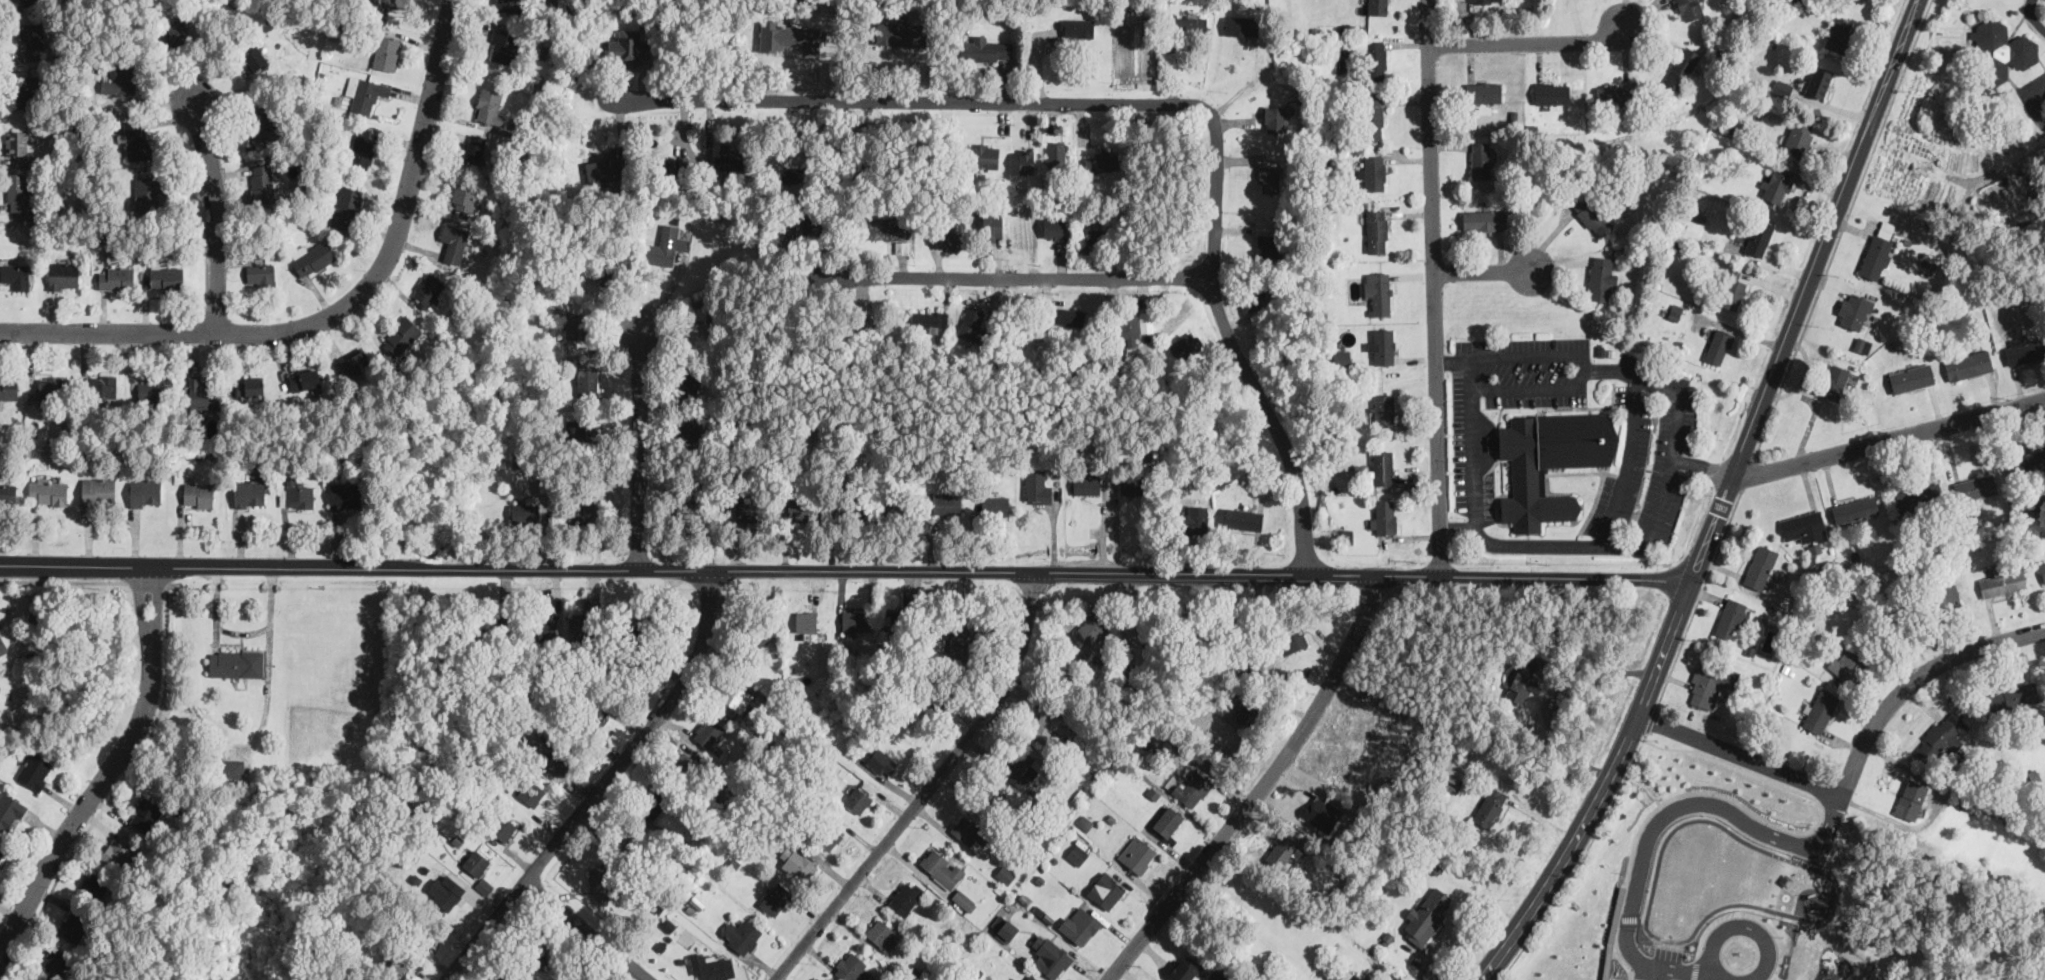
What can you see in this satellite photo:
building: (1478, 0)
building: (1861, 0)
building: (26, 1)
building: (396, 3)
building: (509, 5)
building: (1377, 6)
building: (1690, 8)
road: (2033, 17)
building: (1192, 23)
building: (1241, 24)
building: (1181, 25)
building: (1078, 27)
building: (180, 33)
building: (902, 33)
building: (1839, 33)
building: (788, 36)
building: (32, 40)
road: (1529, 43)
building: (504, 45)
building: (629, 48)
building: (984, 48)
building: (386, 52)
building: (2001, 52)
building: (255, 57)
building: (1376, 60)
building: (1682, 67)
building: (123, 81)
building: (1818, 82)
building: (1783, 88)
building: (21, 91)
building: (1484, 91)
building: (1552, 92)
building: (365, 94)
building: (1614, 95)
road: (909, 102)
building: (488, 105)
building: (1374, 117)
building: (1274, 118)
building: (261, 122)
building: (1799, 135)
building: (137, 139)
building: (18, 142)
building: (474, 147)
building: (1056, 152)
building: (362, 153)
building: (982, 155)
building: (729, 158)
building: (1026, 159)
building: (1481, 159)
building: (1101, 161)
building: (675, 166)
building: (607, 167)
building: (1373, 171)
building: (792, 174)
building: (1269, 178)
building: (263, 183)
building: (1776, 187)
building: (18, 192)
building: (150, 193)
building: (464, 195)
building: (346, 206)
building: (1591, 214)
road: (213, 215)
building: (1484, 219)
building: (810, 224)
building: (992, 224)
building: (801, 225)
building: (1054, 226)
building: (888, 227)
road: (1842, 227)
building: (1377, 230)
building: (1758, 236)
building: (953, 239)
building: (1095, 240)
building: (454, 244)
building: (665, 245)
building: (1269, 245)
building: (902, 246)
building: (1877, 253)
building: (312, 257)
road: (1484, 272)
building: (261, 274)
building: (16, 275)
building: (64, 275)
building: (608, 275)
building: (116, 277)
building: (166, 277)
building: (1600, 277)
road: (1000, 279)
road: (1434, 286)
building: (427, 289)
building: (1731, 289)
building: (1378, 293)
road: (667, 295)
building: (1252, 299)
building: (1855, 310)
building: (1675, 311)
road: (337, 315)
building: (1071, 315)
building: (930, 318)
building: (972, 321)
building: (1146, 322)
building: (1129, 324)
building: (576, 325)
building: (872, 326)
building: (699, 335)
building: (400, 336)
road: (1232, 342)
building: (1863, 344)
building: (1185, 345)
building: (1385, 345)
building: (1718, 345)
building: (2025, 349)
building: (1342, 357)
road: (1454, 360)
building: (356, 363)
building: (1969, 363)
building: (1912, 377)
building: (305, 378)
building: (690, 378)
building: (587, 380)
building: (1835, 381)
building: (103, 385)
building: (250, 387)
road: (1536, 387)
building: (9, 388)
building: (52, 388)
building: (153, 388)
building: (201, 394)
building: (1382, 408)
building: (688, 429)
building: (581, 430)
road: (1886, 439)
parking lot: (1567, 446)
road: (640, 448)
building: (1550, 462)
building: (2029, 462)
road: (1628, 463)
building: (1383, 466)
road: (1700, 466)
road: (1749, 472)
building: (1086, 483)
building: (1132, 484)
building: (1037, 485)
building: (1975, 488)
building: (48, 491)
building: (99, 491)
building: (146, 491)
building: (8, 492)
building: (250, 492)
building: (199, 494)
building: (296, 494)
building: (345, 495)
building: (1919, 496)
road: (1719, 500)
building: (2036, 502)
building: (944, 503)
building: (995, 505)
building: (800, 506)
building: (893, 506)
building: (853, 508)
building: (1854, 508)
building: (525, 510)
building: (747, 510)
building: (582, 513)
building: (690, 514)
building: (1384, 516)
building: (1194, 517)
building: (1243, 518)
road: (1654, 525)
building: (1804, 526)
road: (1457, 527)
building: (1348, 535)
building: (1760, 565)
road: (843, 569)
building: (2042, 569)
road: (63, 581)
road: (147, 582)
building: (2002, 582)
building: (1945, 596)
road: (1698, 597)
building: (855, 619)
building: (1732, 619)
building: (806, 620)
building: (892, 620)
building: (1146, 622)
building: (1184, 623)
building: (1240, 623)
building: (545, 625)
building: (579, 625)
building: (1091, 627)
building: (646, 628)
building: (493, 629)
building: (763, 634)
building: (1291, 640)
building: (3, 644)
building: (960, 645)
building: (237, 662)
building: (1540, 663)
building: (1847, 664)
building: (1522, 681)
building: (0, 685)
building: (1710, 685)
building: (734, 695)
road: (1548, 696)
building: (2013, 696)
building: (931, 704)
building: (1820, 710)
building: (1250, 713)
building: (597, 715)
road: (1652, 718)
building: (1054, 722)
building: (708, 731)
building: (1940, 740)
building: (557, 760)
building: (882, 762)
building: (1023, 762)
building: (684, 764)
road: (1850, 767)
road: (109, 769)
building: (231, 769)
building: (35, 770)
building: (1452, 782)
road: (1646, 784)
road: (117, 785)
road: (603, 786)
road: (930, 787)
building: (1192, 787)
road: (1259, 791)
building: (532, 792)
building: (993, 797)
building: (857, 799)
building: (1910, 799)
building: (654, 800)
building: (1490, 806)
building: (10, 811)
road: (1748, 811)
building: (1321, 813)
building: (146, 814)
road: (1658, 819)
building: (1167, 821)
building: (1085, 822)
building: (503, 826)
building: (970, 832)
building: (828, 836)
building: (629, 838)
building: (118, 849)
building: (2, 852)
building: (1282, 852)
building: (1137, 853)
building: (1077, 854)
road: (1578, 859)
building: (477, 862)
building: (798, 862)
building: (942, 867)
building: (1006, 874)
building: (600, 877)
track: (1727, 880)
road: (1125, 881)
building: (94, 884)
building: (446, 890)
building: (1106, 890)
building: (906, 896)
building: (775, 898)
building: (964, 899)
road: (1753, 915)
building: (1427, 916)
road: (1629, 917)
park: (1912, 918)
road: (1643, 919)
road: (1776, 922)
building: (73, 924)
building: (1079, 924)
building: (669, 925)
road: (1740, 925)
road: (585, 930)
building: (1007, 930)
building: (742, 934)
building: (882, 934)
building: (537, 950)
parking lot: (1668, 953)
building: (1050, 956)
building: (56, 963)
building: (395, 963)
building: (714, 966)
building: (851, 967)
building: (1185, 967)
road: (1696, 967)
building: (1216, 975)
building: (508, 976)
building: (1353, 976)
building: (1030, 978)
road: (1635, 979)

